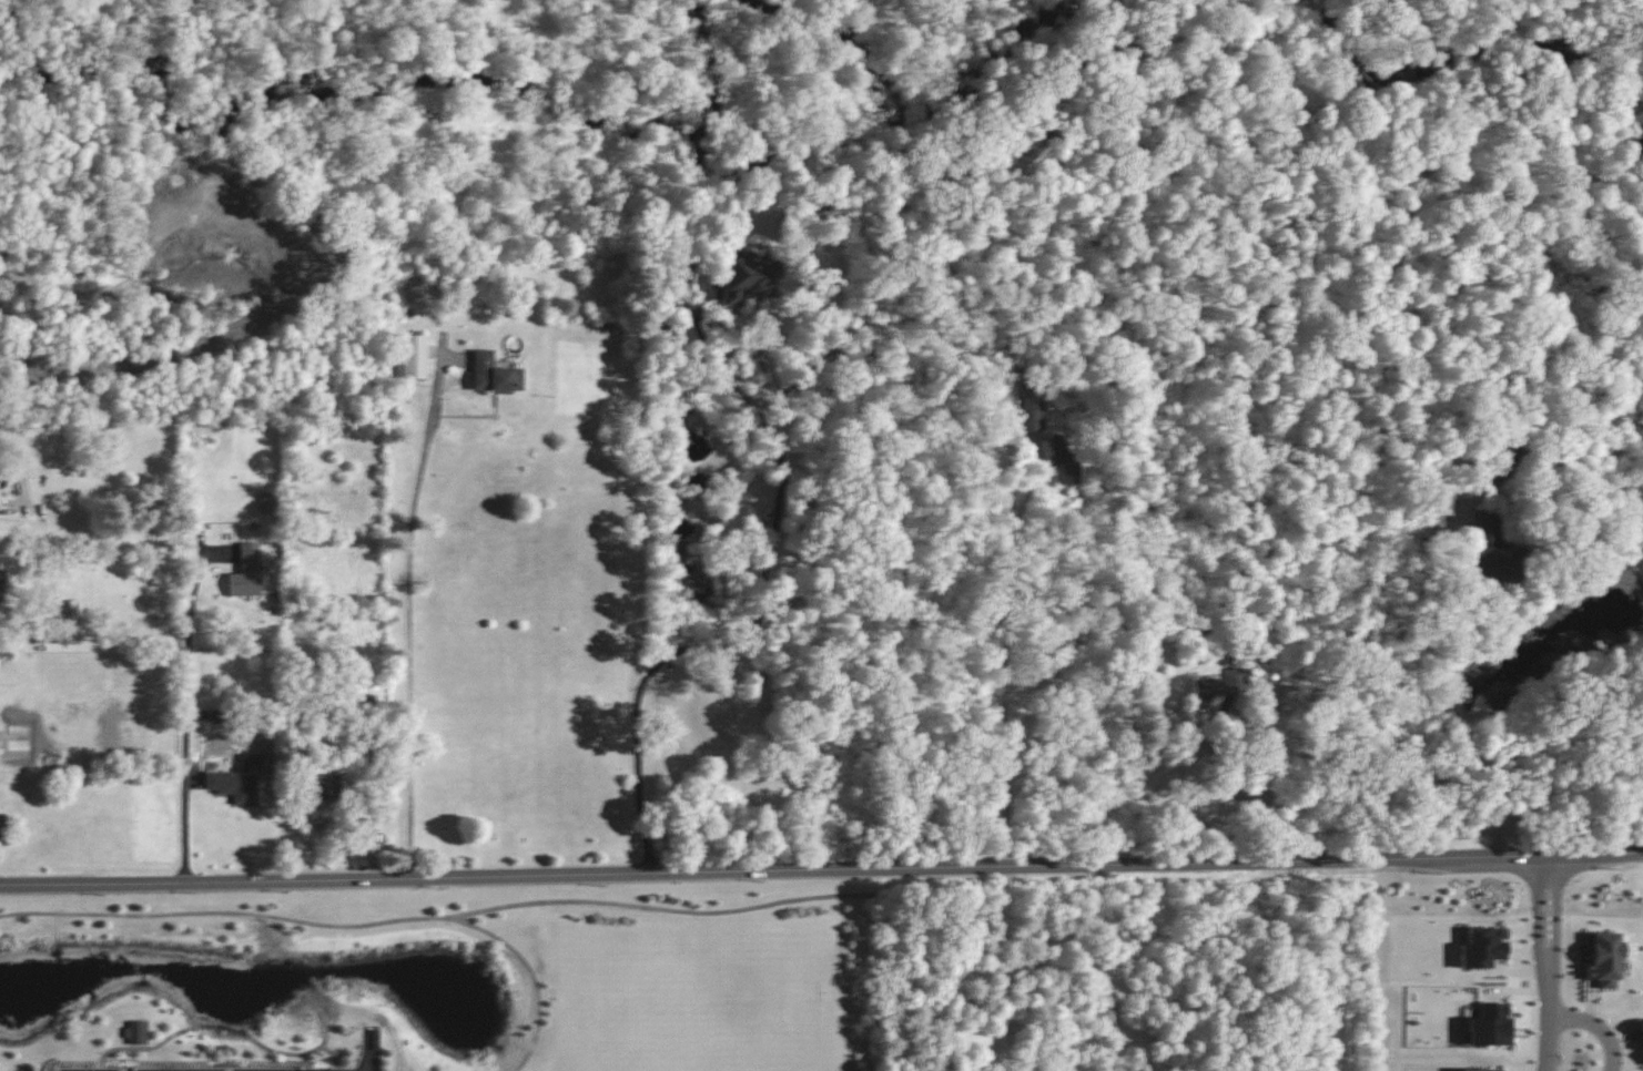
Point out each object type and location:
building: (219, 198)
building: (681, 272)
building: (751, 278)
building: (407, 288)
building: (414, 356)
building: (494, 374)
building: (1032, 409)
building: (1065, 457)
building: (267, 502)
building: (1492, 548)
building: (246, 571)
road: (760, 603)
road: (409, 621)
road: (1002, 633)
building: (1206, 688)
road: (1451, 700)
road: (185, 708)
building: (18, 742)
building: (233, 785)
building: (321, 787)
road: (1220, 787)
building: (2, 827)
road: (821, 868)
road: (1541, 870)
road: (1532, 917)
road: (1551, 917)
road: (440, 918)
building: (1481, 947)
building: (1602, 959)
road: (1544, 1012)
building: (1489, 1026)
road: (1593, 1027)
building: (136, 1032)
building: (1641, 1034)
building: (1477, 1069)

